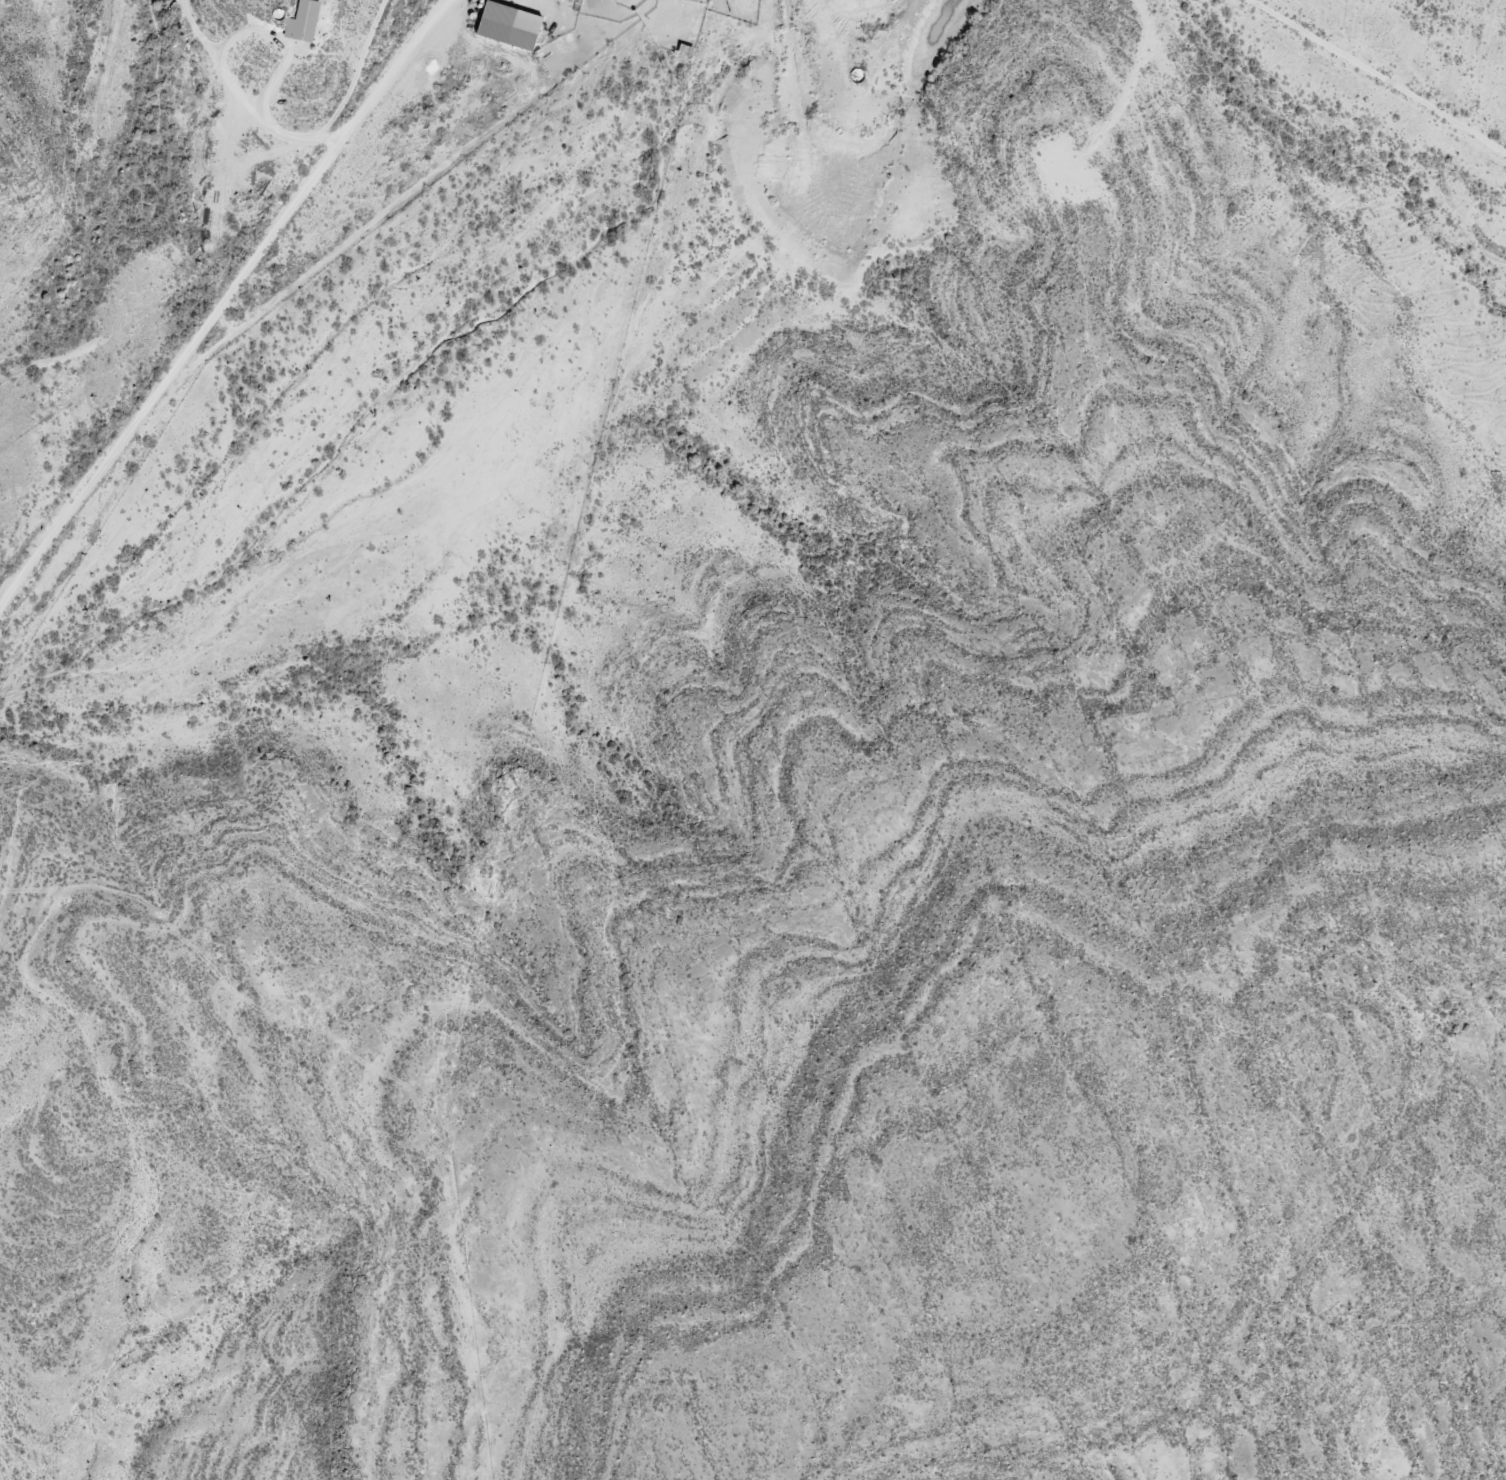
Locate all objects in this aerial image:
building: (508, 26)
road: (1385, 54)
road: (208, 295)

